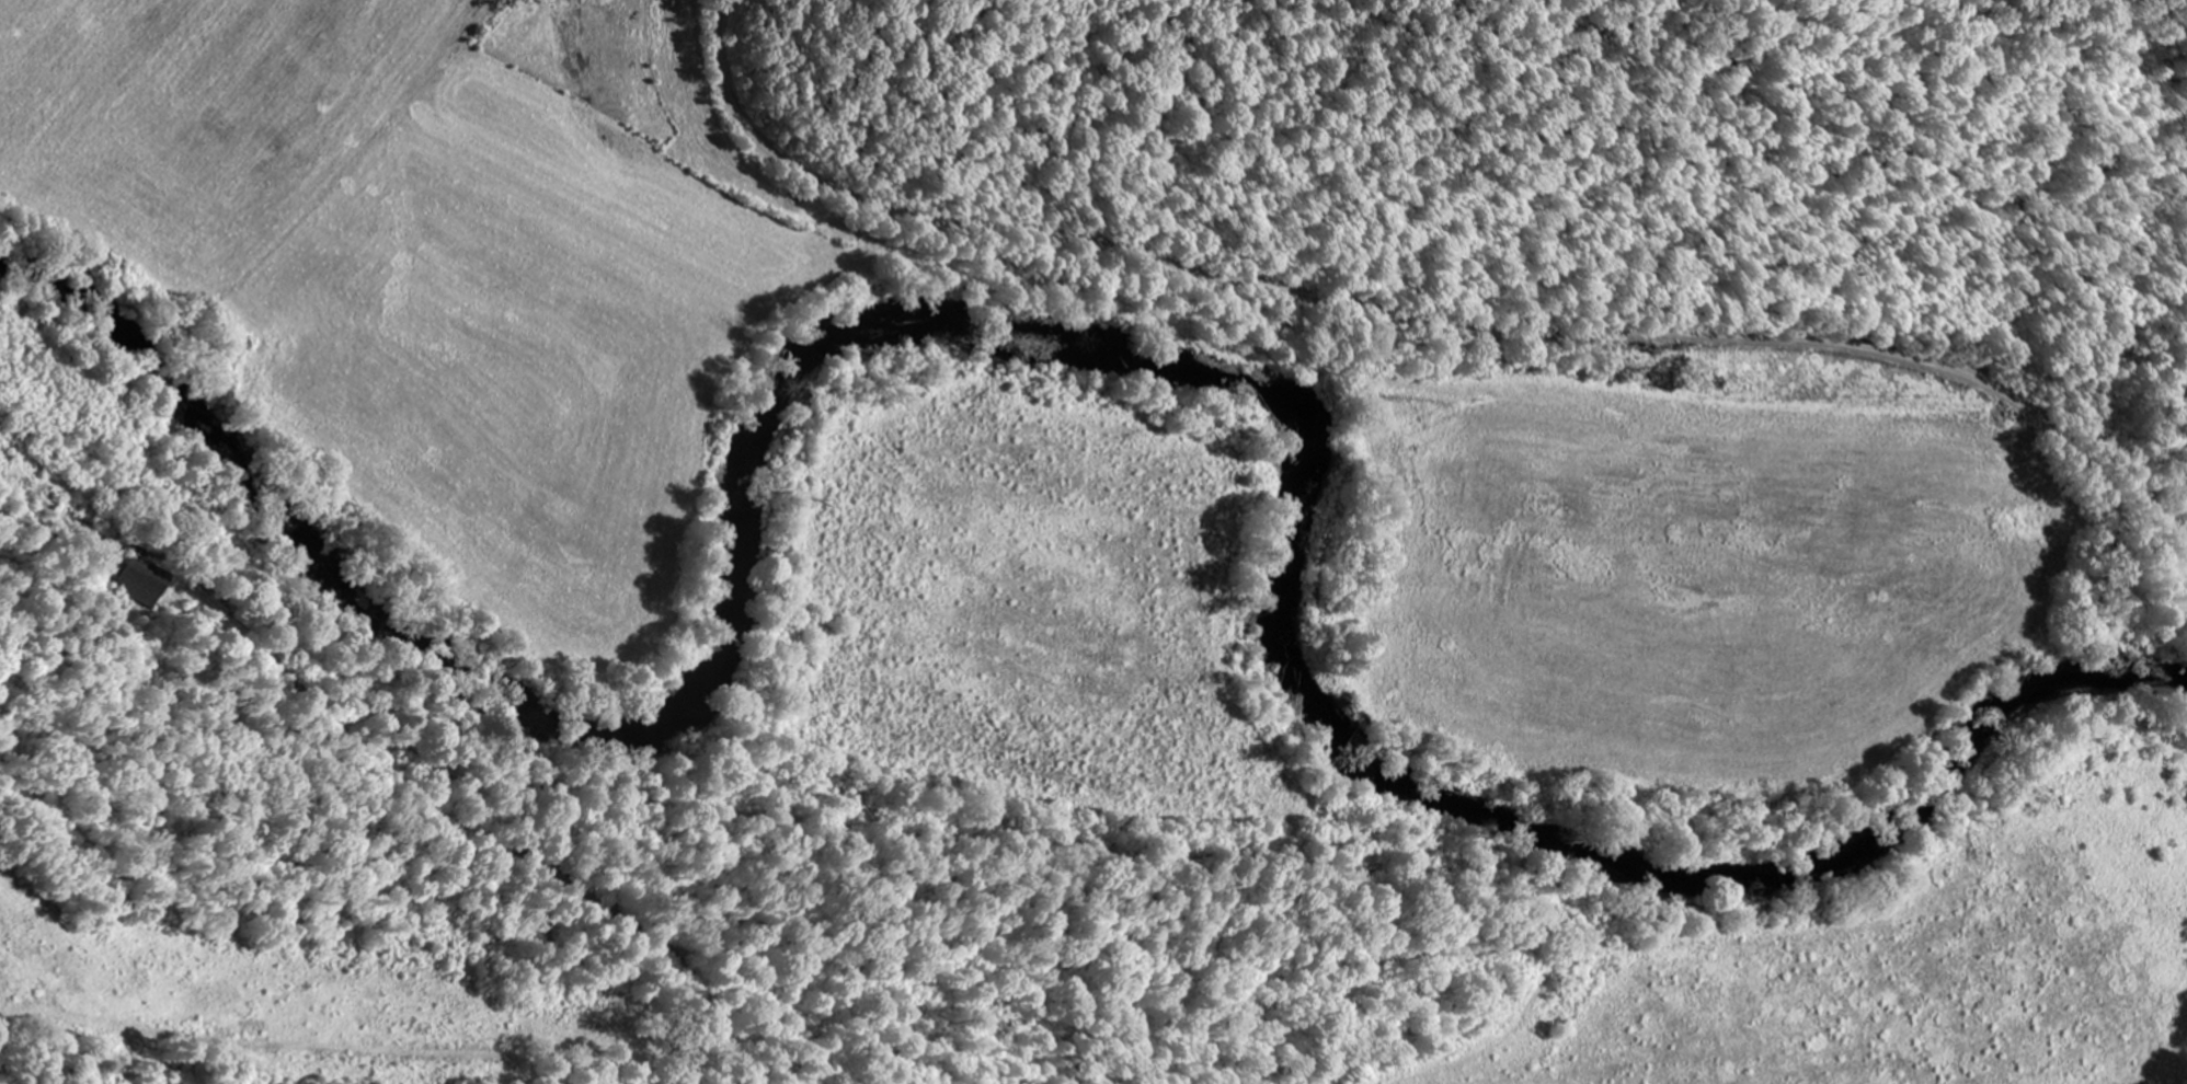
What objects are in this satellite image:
road: (1436, 318)
river: (1091, 371)
road: (64, 532)
building: (133, 580)

